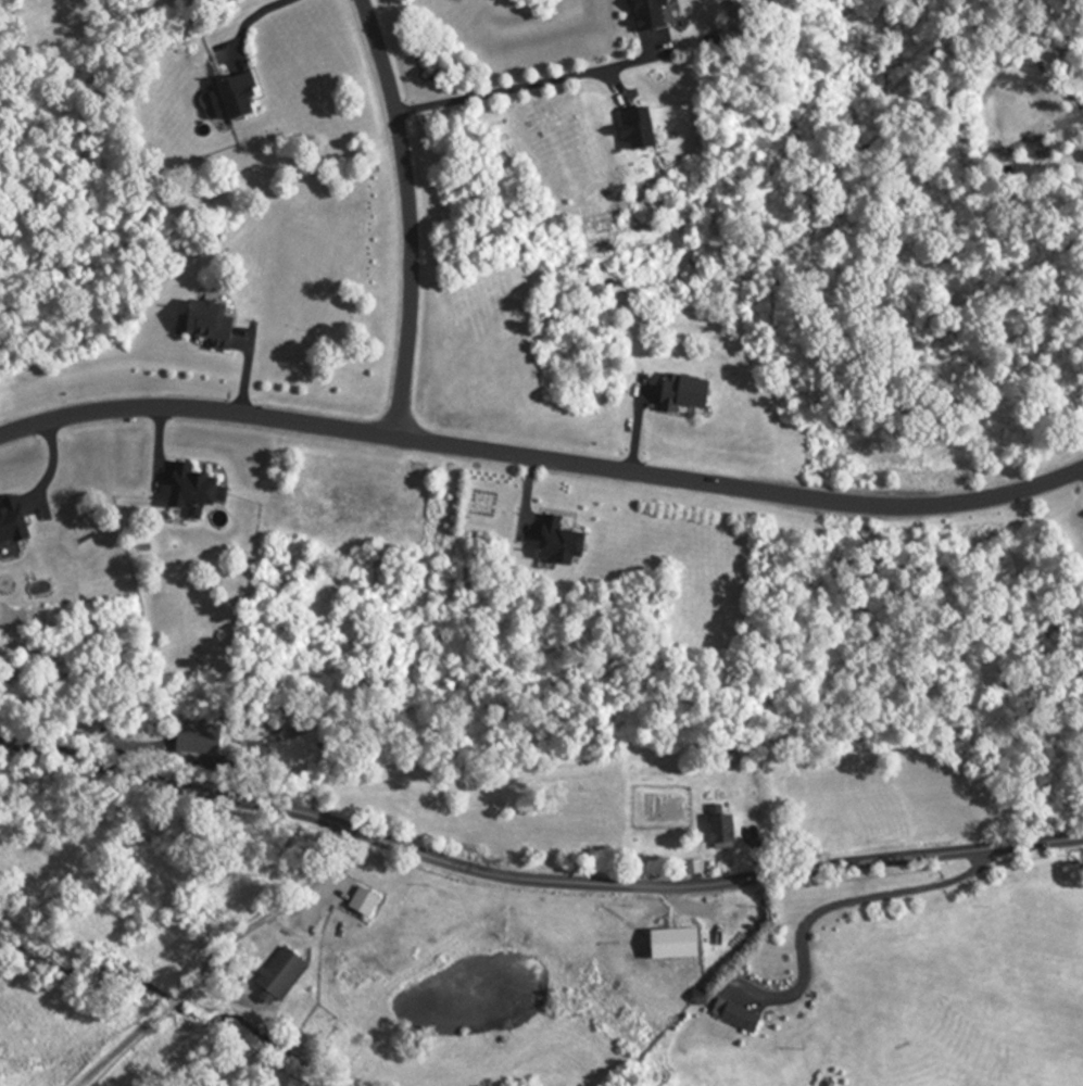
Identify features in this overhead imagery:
road: (253, 15)
building: (645, 16)
road: (530, 85)
building: (232, 96)
building: (633, 129)
road: (408, 215)
building: (205, 323)
building: (680, 394)
road: (542, 458)
building: (191, 492)
building: (10, 521)
building: (555, 543)
building: (196, 738)
building: (719, 831)
road: (532, 882)
building: (361, 904)
road: (858, 904)
road: (273, 913)
building: (670, 945)
building: (275, 977)
road: (174, 1001)
building: (733, 1016)
road: (122, 1048)

